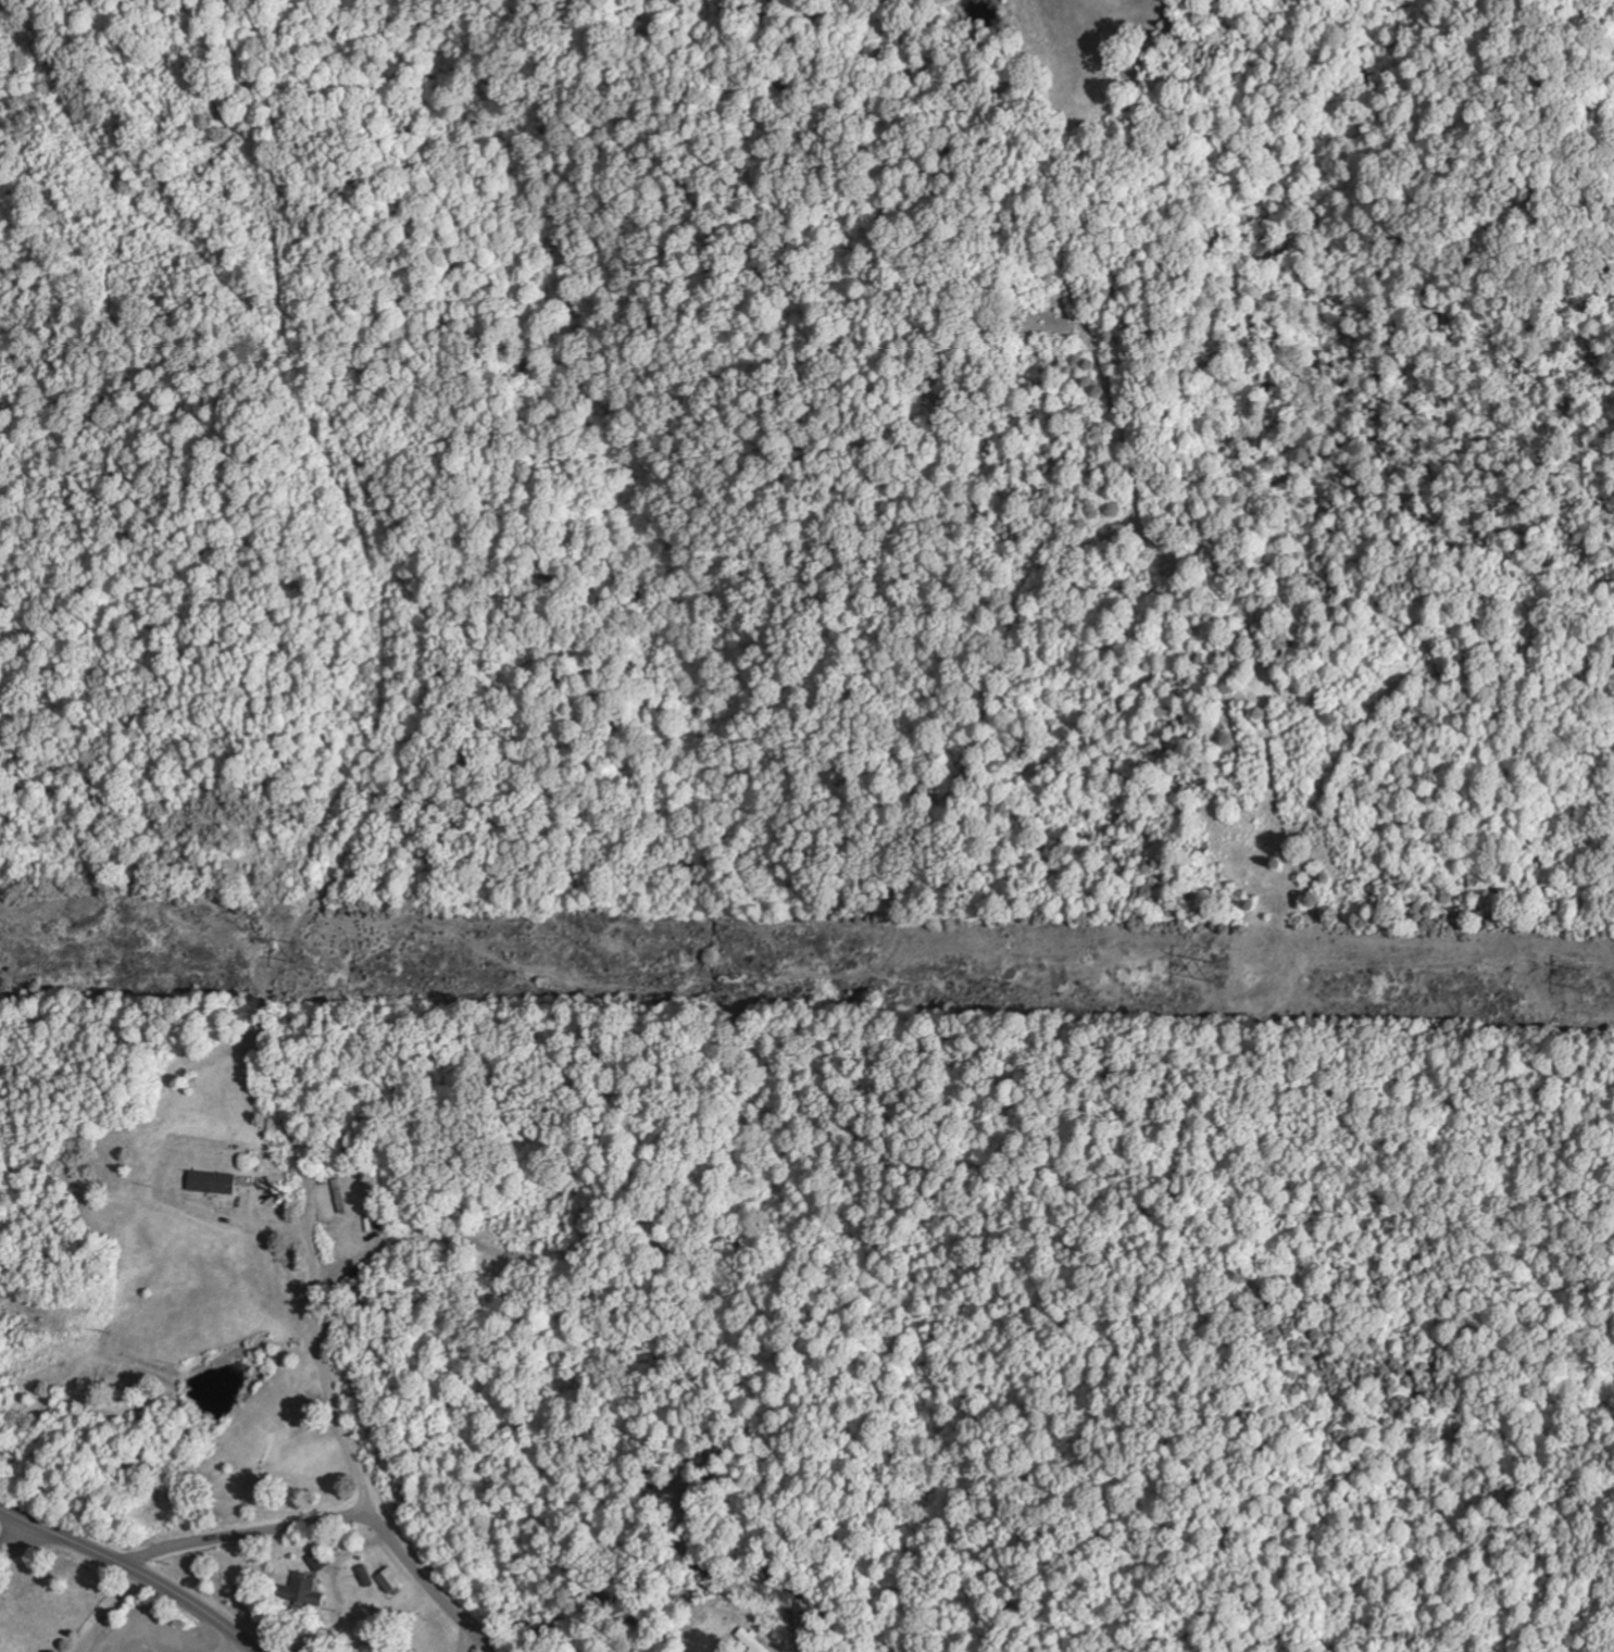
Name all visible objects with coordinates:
power tower: (293, 950)
power tower: (1222, 968)
power tower: (1588, 977)
building: (207, 1180)
road: (346, 1441)
road: (32, 1539)
road: (155, 1550)
road: (135, 1566)
building: (388, 1579)
building: (301, 1590)
building: (751, 1640)

